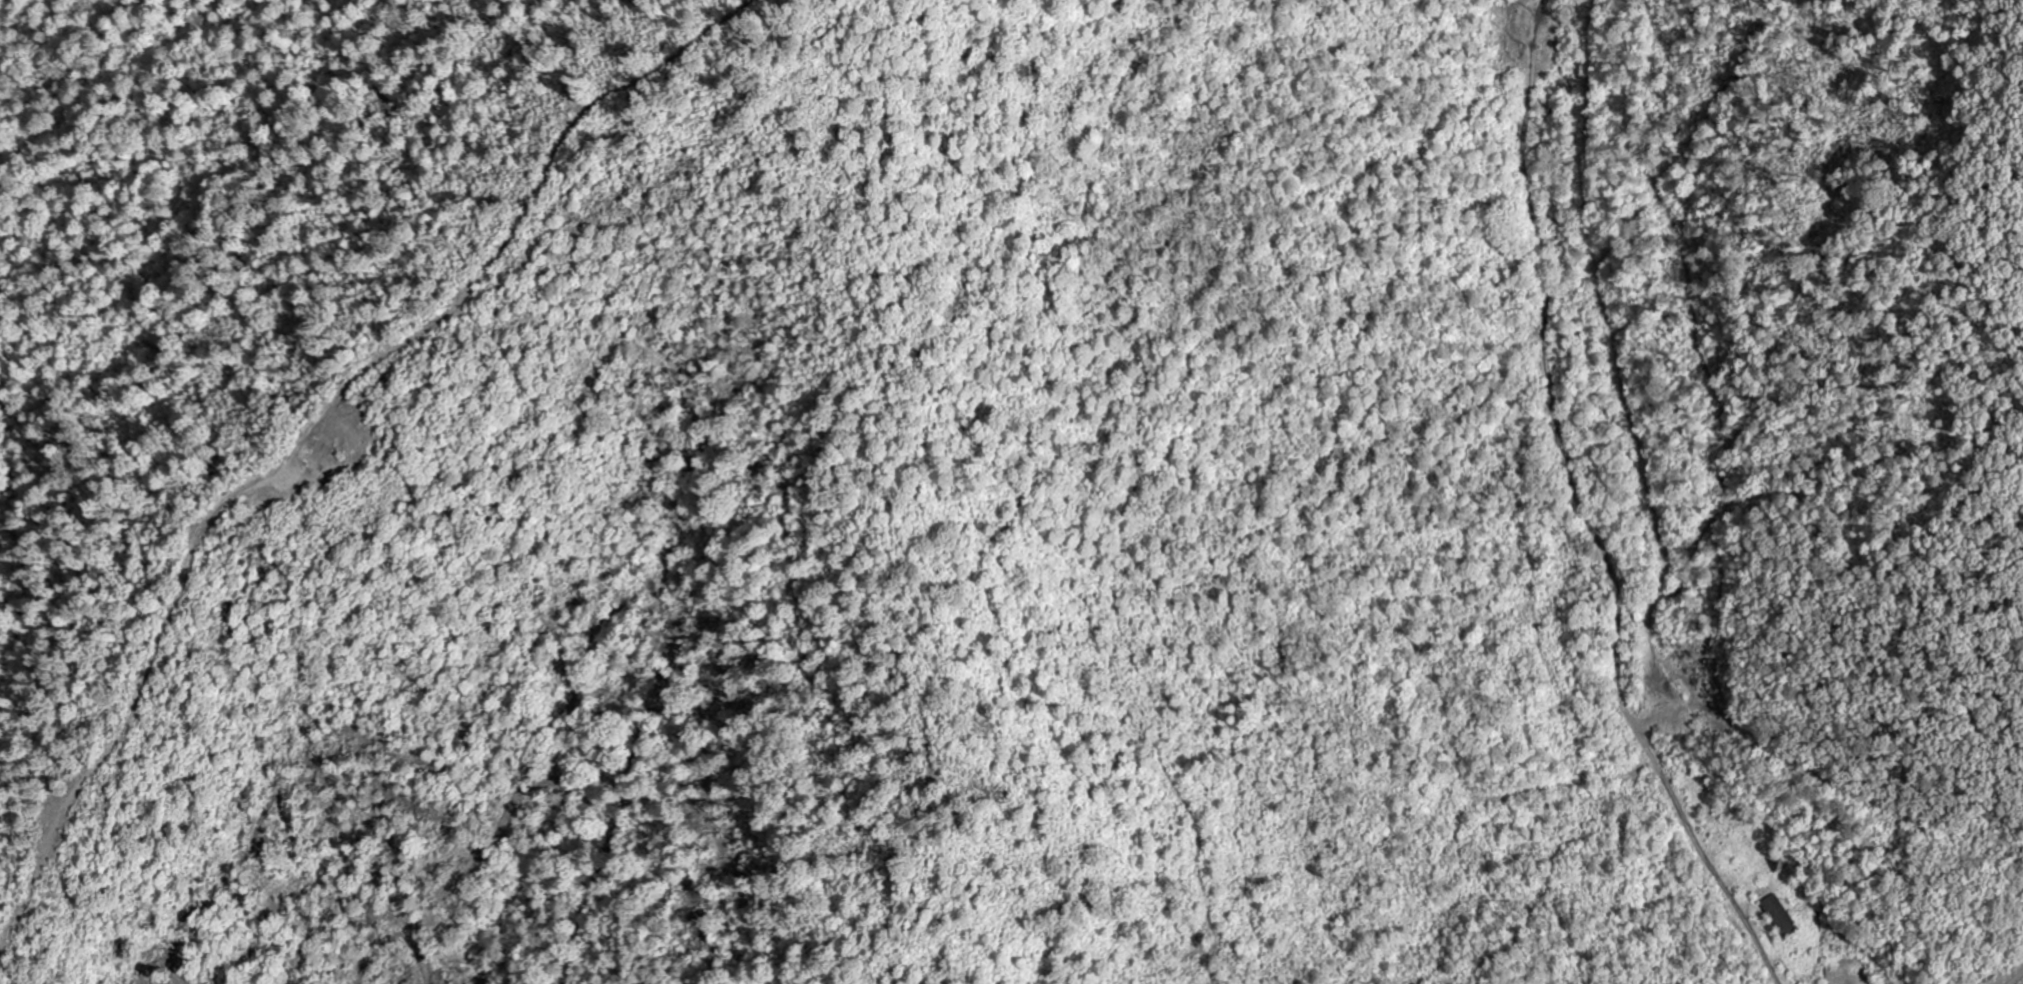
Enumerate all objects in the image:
building: (1779, 916)

